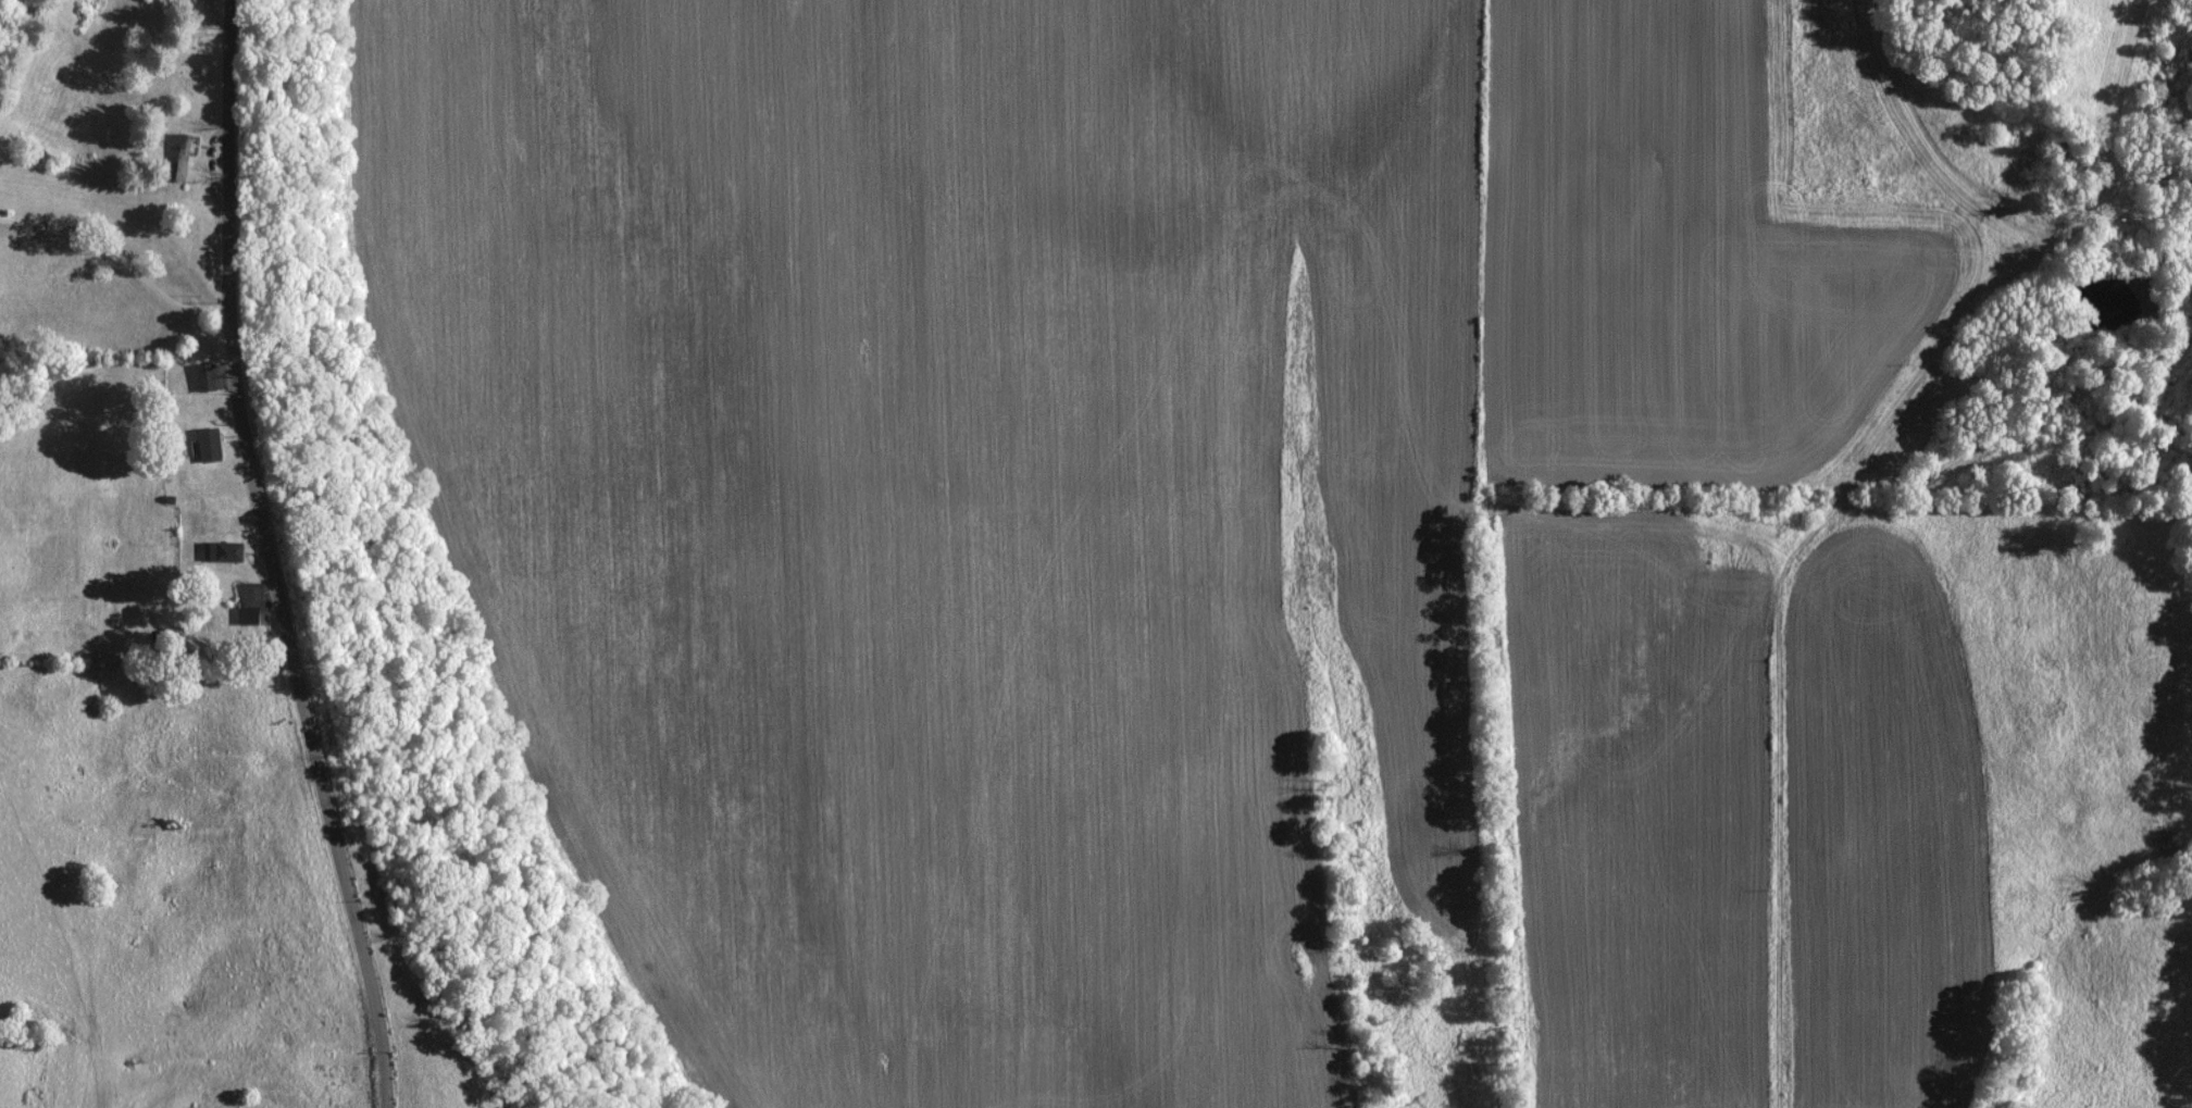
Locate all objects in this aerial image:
road: (120, 258)
building: (201, 378)
building: (205, 446)
building: (222, 552)
road: (267, 558)

